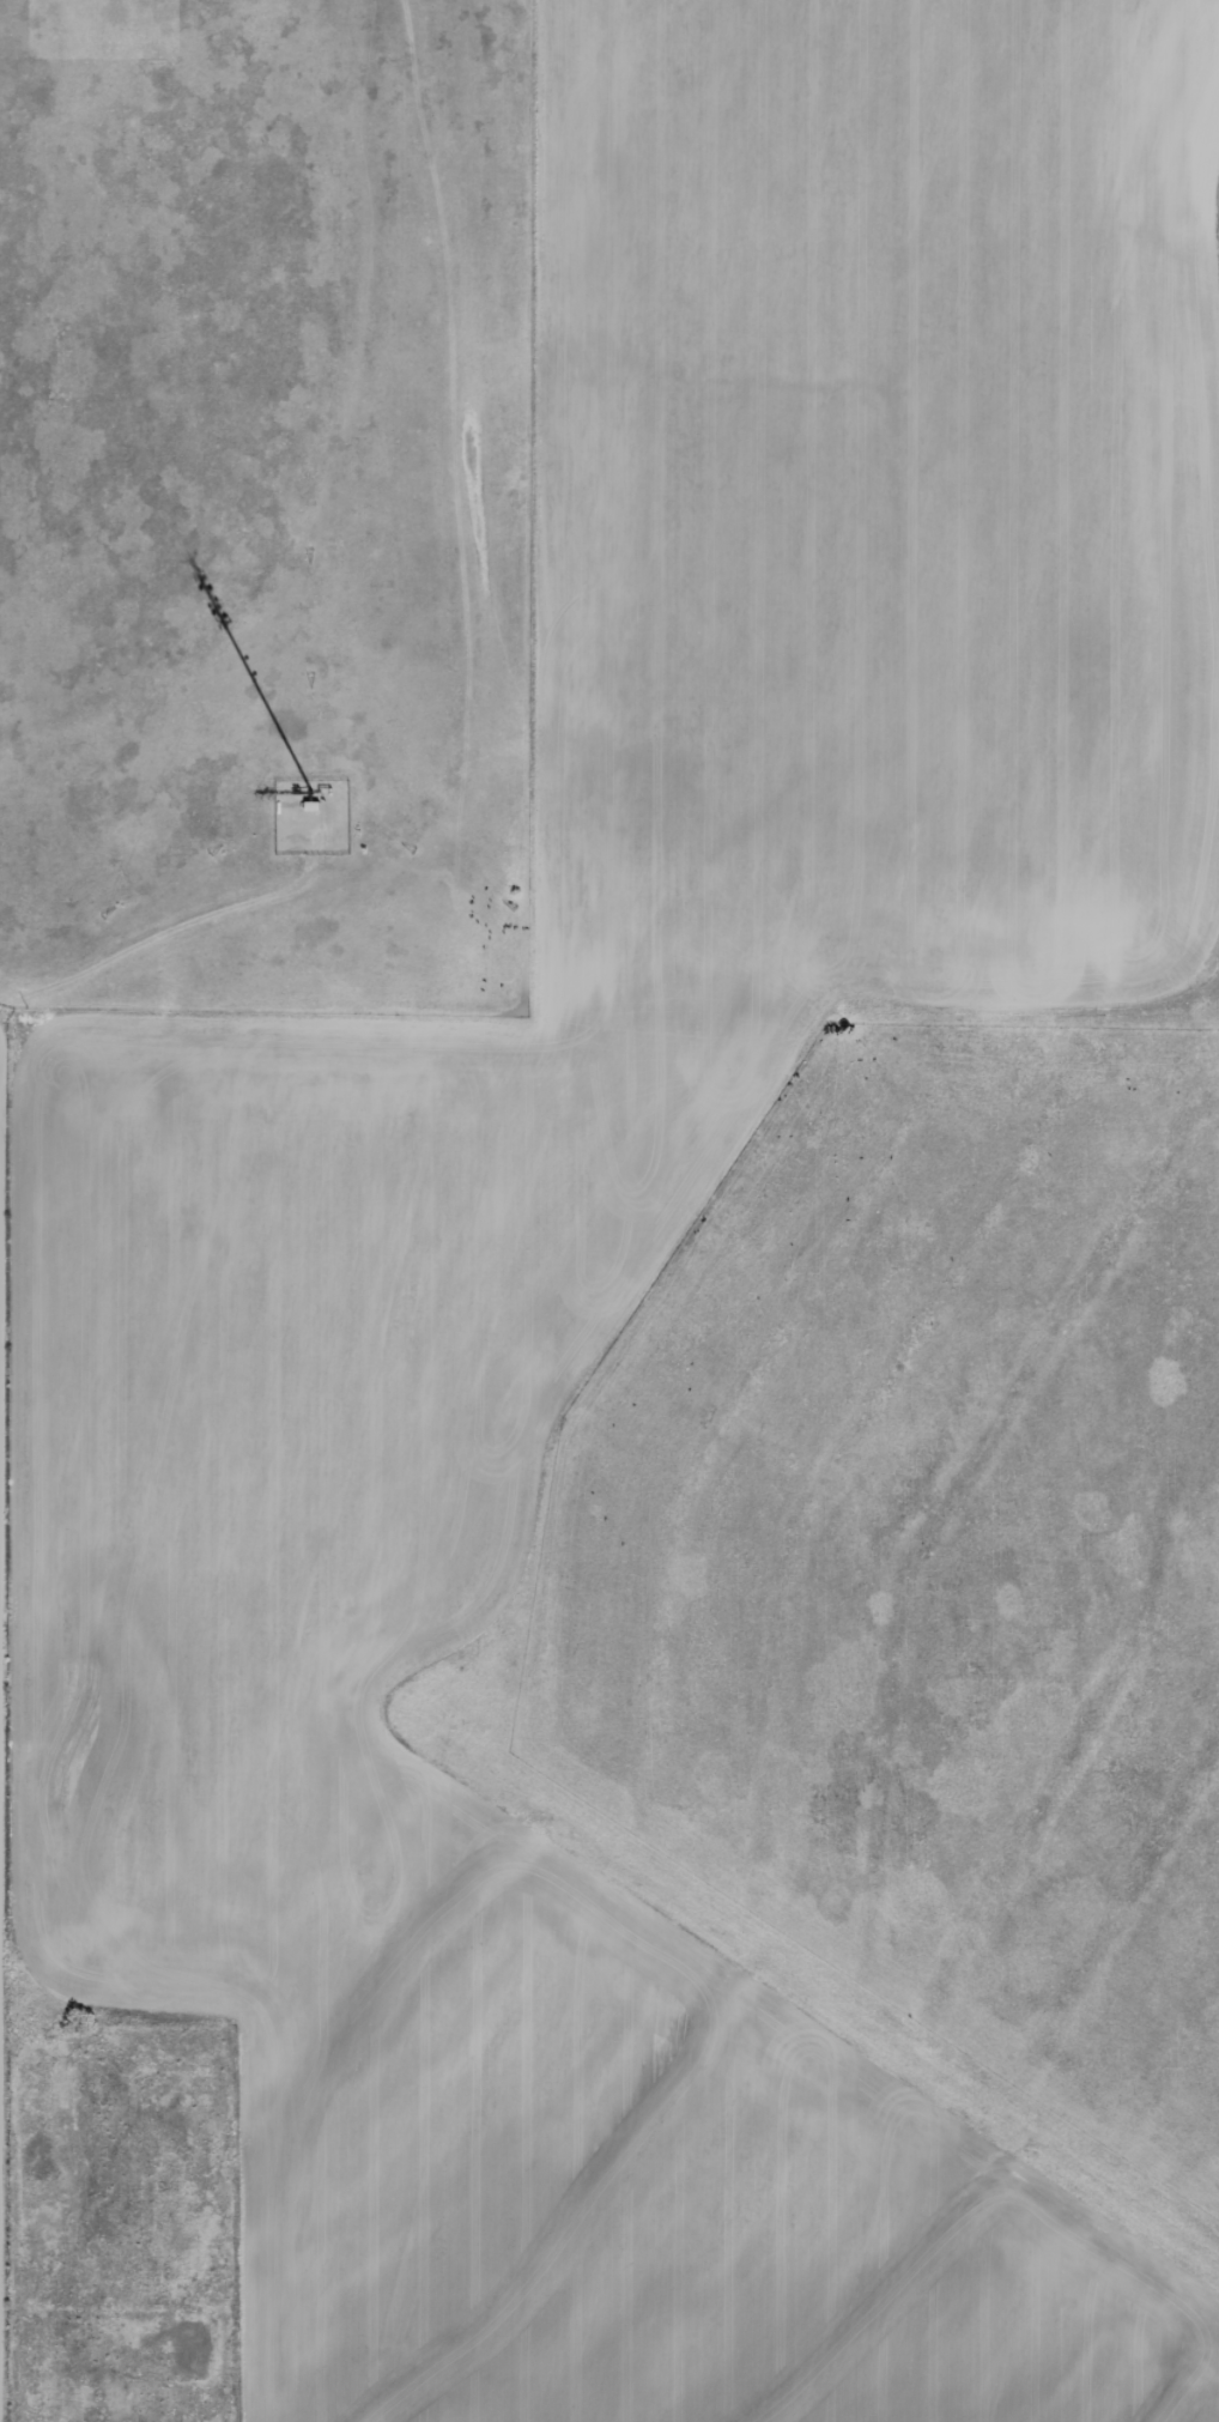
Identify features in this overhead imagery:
road: (0, 1728)

